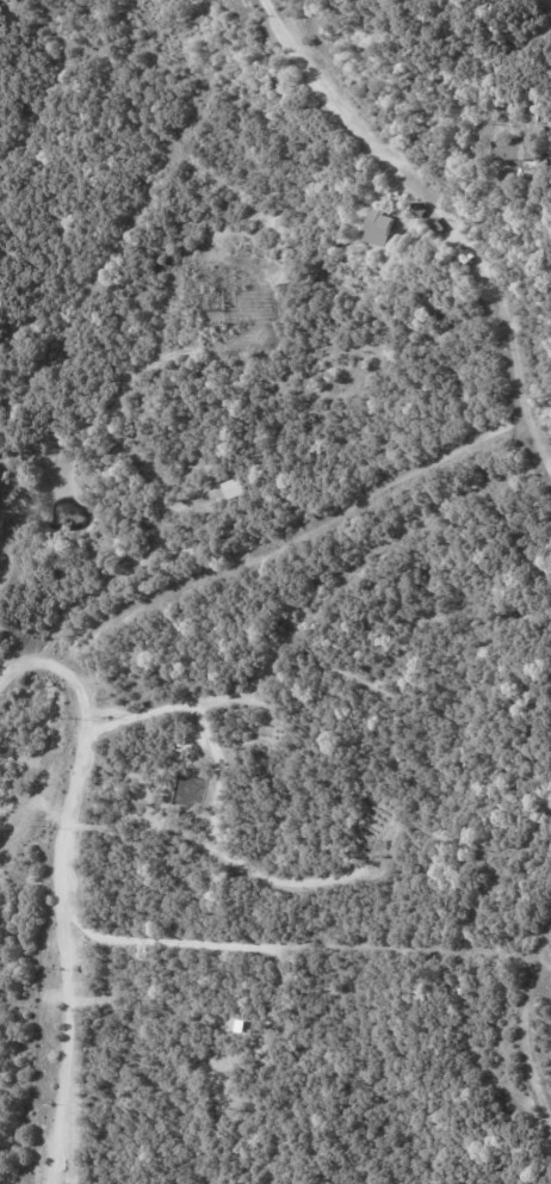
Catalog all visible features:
building: (515, 150)
building: (421, 211)
road: (442, 216)
building: (386, 226)
building: (231, 489)
road: (51, 895)
road: (522, 1029)

